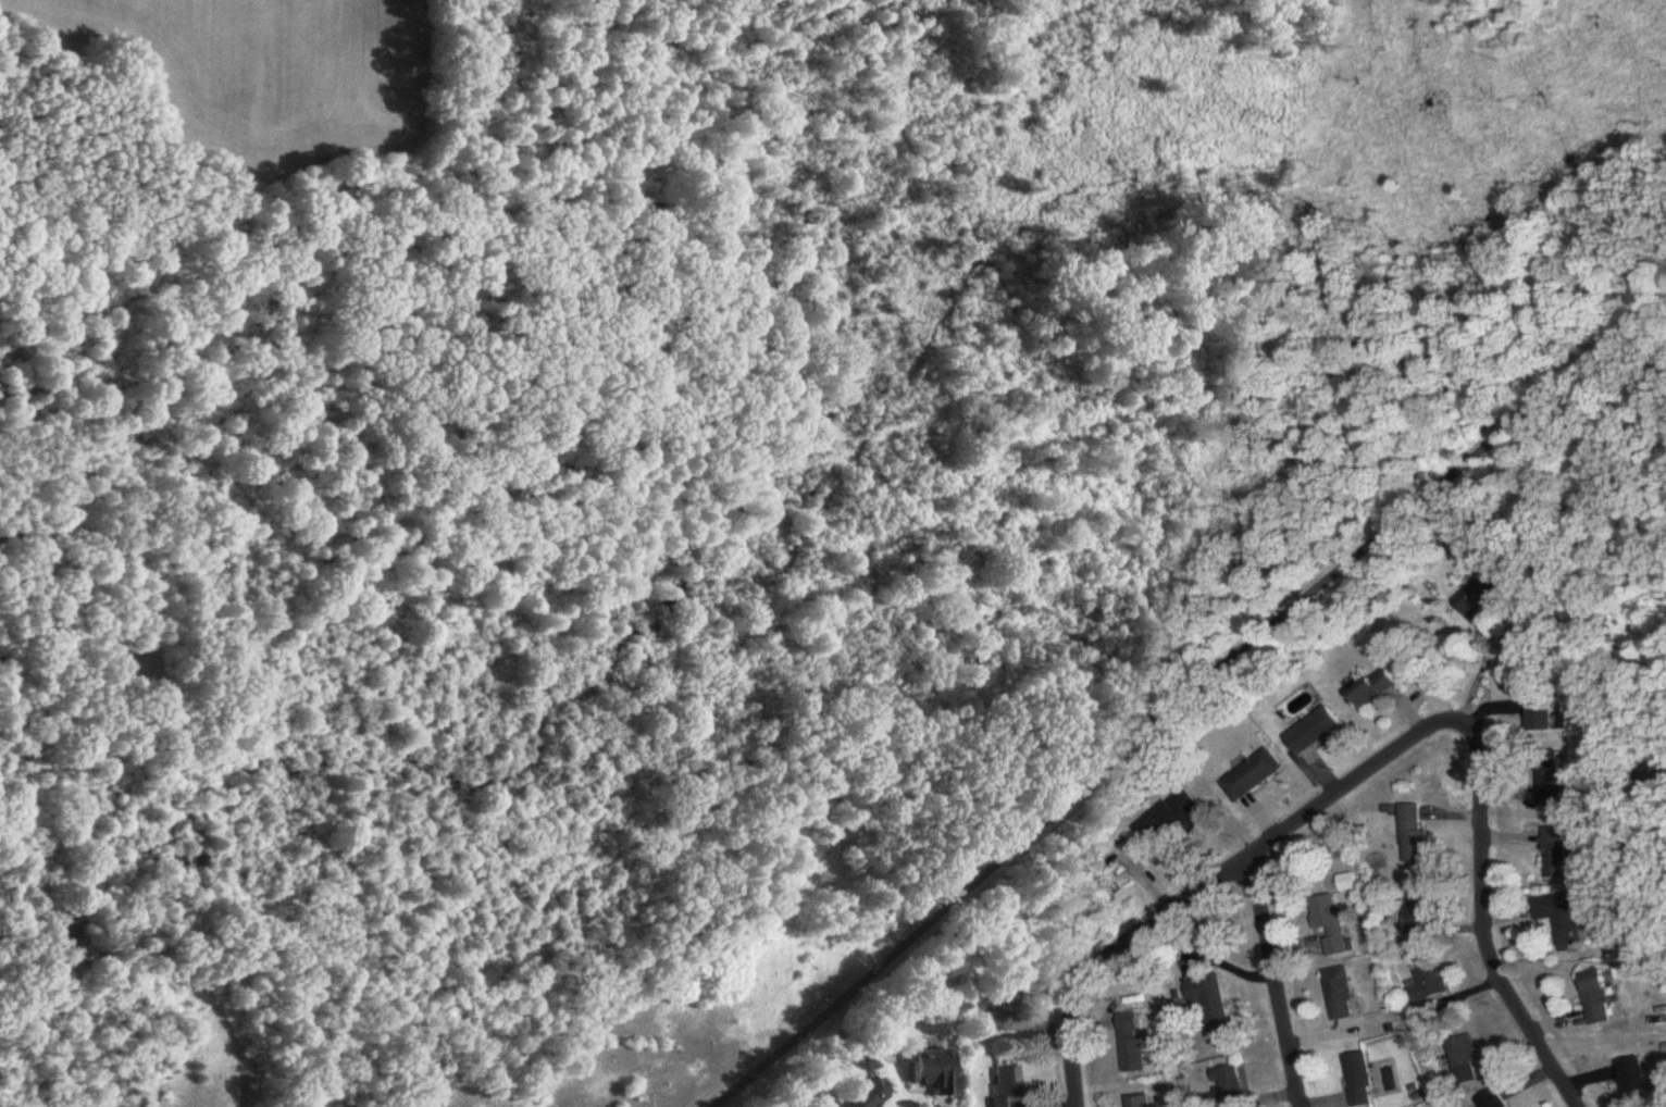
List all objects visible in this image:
building: (1483, 596)
road: (1479, 670)
building: (111, 671)
building: (1377, 689)
road: (1178, 702)
building: (1544, 714)
building: (1315, 732)
building: (1254, 776)
building: (1552, 782)
road: (1332, 800)
building: (1170, 820)
building: (1415, 835)
building: (1556, 846)
building: (1351, 883)
road: (1482, 900)
building: (1415, 917)
building: (1565, 919)
building: (1334, 925)
road: (1111, 956)
road: (1270, 984)
building: (1429, 984)
building: (1344, 994)
building: (1600, 997)
building: (1213, 1005)
building: (1002, 1020)
building: (1465, 1053)
building: (1134, 1056)
building: (934, 1071)
building: (1637, 1078)
building: (1364, 1081)
building: (1230, 1084)
building: (1007, 1086)
building: (1494, 1100)
building: (1140, 1102)

